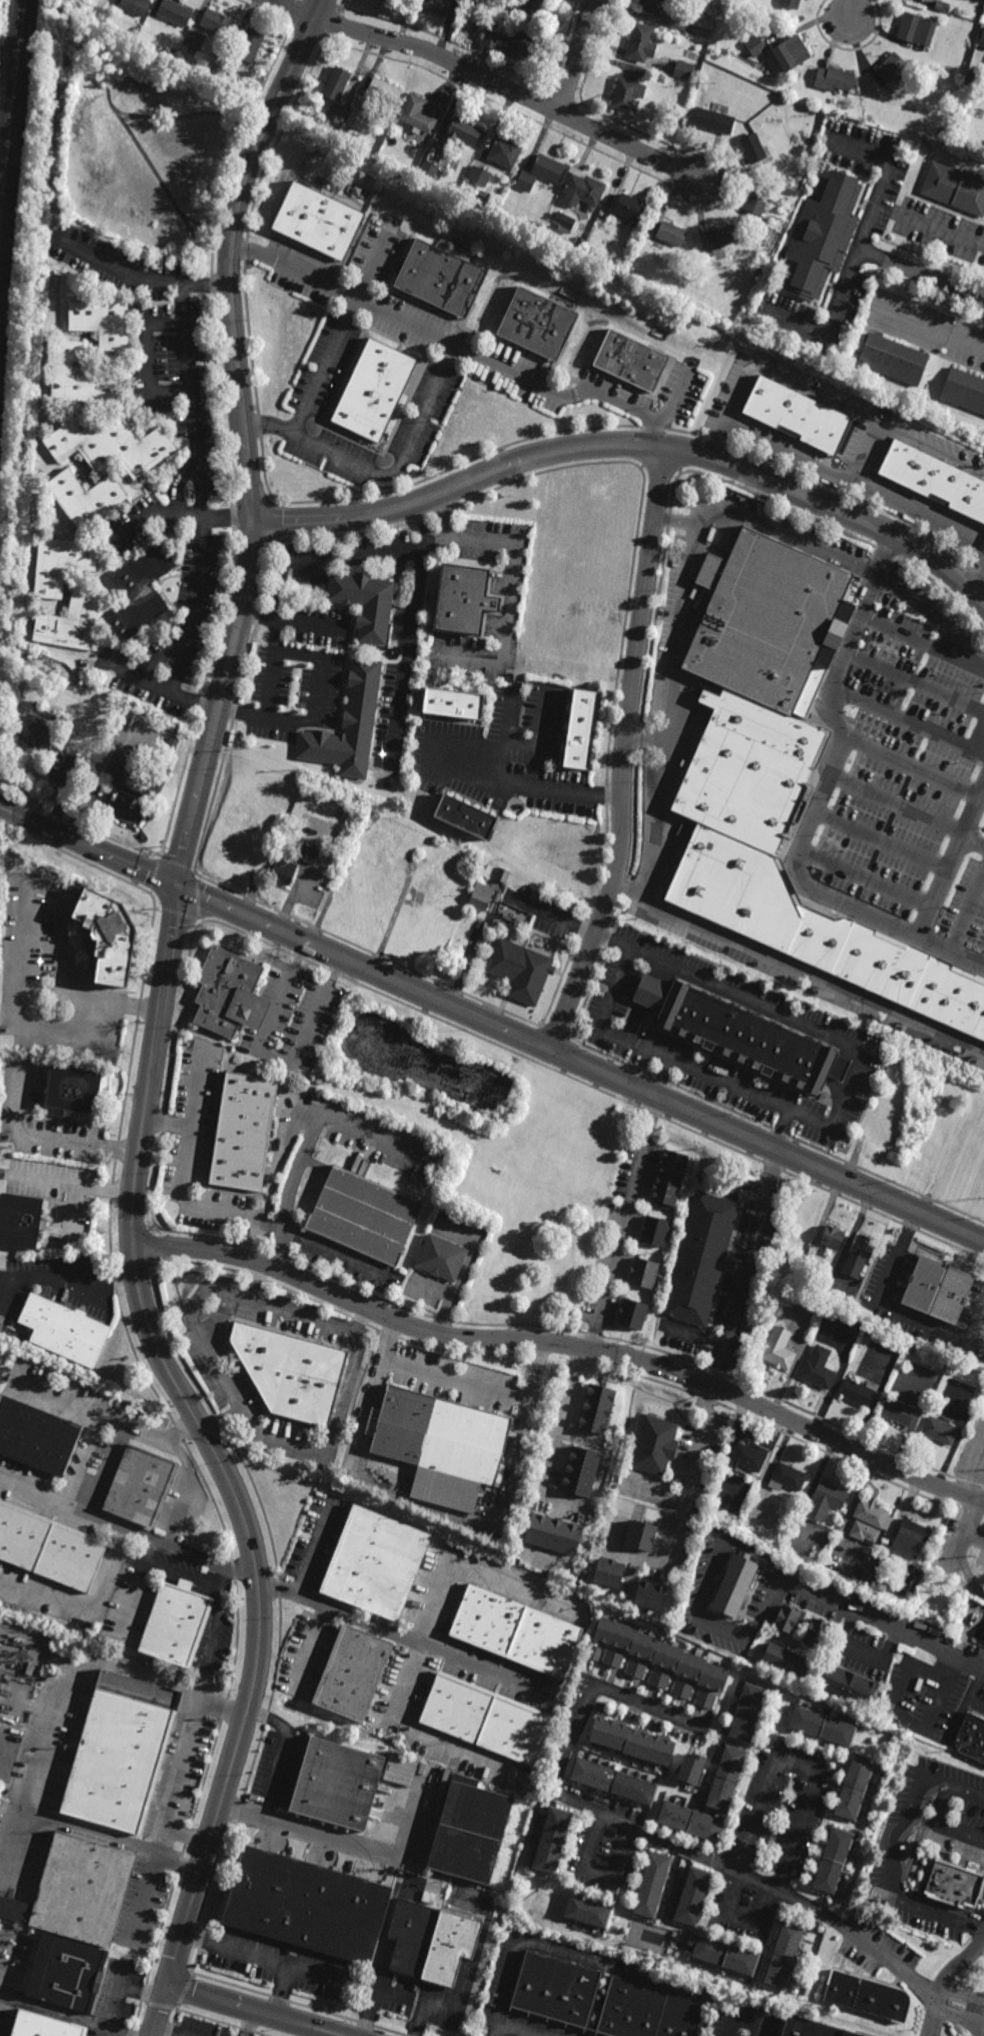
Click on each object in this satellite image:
building: (386, 0)
building: (389, 0)
building: (928, 0)
building: (408, 4)
building: (791, 4)
building: (135, 7)
building: (436, 7)
building: (650, 7)
building: (944, 8)
road: (853, 9)
building: (531, 10)
building: (175, 15)
building: (216, 23)
building: (675, 26)
building: (917, 29)
building: (136, 32)
building: (982, 36)
building: (510, 41)
building: (194, 42)
building: (641, 43)
building: (251, 45)
building: (755, 45)
building: (791, 52)
building: (172, 53)
road: (577, 57)
building: (892, 66)
building: (684, 70)
building: (973, 75)
building: (834, 78)
building: (335, 82)
road: (492, 82)
railway: (8, 85)
building: (384, 89)
building: (628, 91)
building: (336, 112)
building: (419, 112)
building: (356, 117)
building: (714, 119)
building: (464, 129)
railway: (9, 131)
building: (754, 147)
building: (506, 150)
building: (818, 165)
building: (431, 171)
building: (541, 171)
building: (480, 175)
building: (801, 176)
road: (884, 177)
building: (583, 188)
building: (955, 188)
building: (758, 199)
building: (630, 207)
building: (606, 211)
building: (317, 219)
building: (565, 220)
building: (746, 222)
building: (599, 223)
road: (941, 231)
building: (671, 233)
building: (822, 234)
building: (722, 237)
building: (582, 240)
building: (764, 241)
road: (120, 268)
building: (757, 275)
building: (441, 277)
road: (934, 280)
road: (206, 286)
road: (838, 308)
building: (538, 323)
building: (104, 327)
road: (970, 344)
road: (455, 346)
road: (148, 359)
building: (893, 360)
building: (631, 361)
road: (325, 365)
building: (79, 377)
building: (374, 390)
building: (964, 390)
road: (822, 397)
road: (676, 401)
building: (798, 416)
building: (111, 445)
road: (632, 445)
road: (817, 467)
road: (381, 473)
building: (934, 480)
building: (86, 499)
road: (156, 513)
road: (922, 514)
road: (201, 515)
road: (226, 521)
road: (438, 538)
road: (826, 552)
building: (61, 565)
road: (420, 575)
road: (510, 579)
road: (978, 586)
road: (277, 592)
building: (141, 593)
building: (465, 602)
building: (364, 605)
road: (257, 615)
building: (768, 621)
building: (71, 623)
road: (921, 644)
road: (677, 651)
road: (914, 683)
building: (454, 704)
road: (400, 705)
road: (241, 714)
road: (908, 719)
road: (510, 722)
building: (347, 726)
building: (767, 726)
building: (581, 730)
building: (42, 731)
road: (977, 732)
building: (173, 744)
road: (535, 749)
road: (624, 753)
road: (913, 767)
building: (137, 773)
road: (528, 786)
building: (743, 790)
road: (817, 803)
road: (897, 803)
road: (7, 807)
building: (466, 816)
road: (657, 818)
road: (881, 841)
road: (972, 845)
building: (309, 854)
building: (283, 864)
road: (951, 864)
building: (501, 874)
road: (865, 879)
building: (533, 888)
building: (481, 897)
building: (511, 909)
road: (967, 914)
building: (818, 933)
building: (108, 935)
road: (20, 940)
building: (521, 971)
road: (797, 971)
building: (230, 993)
road: (163, 999)
road: (796, 1021)
road: (498, 1027)
building: (738, 1034)
road: (659, 1052)
road: (274, 1059)
building: (841, 1068)
road: (661, 1076)
building: (319, 1081)
building: (74, 1090)
road: (167, 1124)
building: (244, 1131)
road: (54, 1138)
road: (309, 1139)
road: (182, 1175)
building: (669, 1179)
road: (76, 1185)
building: (364, 1217)
building: (21, 1221)
road: (623, 1223)
building: (804, 1228)
building: (654, 1232)
building: (834, 1239)
building: (805, 1246)
building: (802, 1255)
building: (860, 1258)
building: (441, 1259)
building: (700, 1260)
building: (784, 1264)
road: (746, 1268)
building: (643, 1273)
road: (72, 1276)
building: (794, 1280)
building: (954, 1289)
road: (895, 1313)
building: (632, 1314)
building: (65, 1332)
building: (872, 1334)
road: (564, 1343)
building: (779, 1351)
road: (218, 1369)
building: (819, 1370)
building: (293, 1372)
road: (454, 1379)
building: (860, 1392)
road: (61, 1397)
building: (596, 1408)
building: (898, 1410)
road: (106, 1418)
road: (221, 1419)
building: (941, 1429)
building: (37, 1433)
building: (441, 1442)
building: (655, 1444)
road: (553, 1447)
building: (750, 1454)
road: (974, 1467)
building: (581, 1470)
building: (783, 1478)
building: (142, 1484)
road: (187, 1489)
road: (567, 1495)
building: (826, 1499)
road: (592, 1503)
road: (436, 1511)
building: (832, 1513)
building: (873, 1513)
road: (676, 1524)
road: (963, 1524)
road: (129, 1529)
building: (864, 1531)
building: (554, 1532)
building: (641, 1534)
building: (908, 1539)
building: (50, 1545)
road: (524, 1549)
road: (314, 1553)
building: (375, 1561)
road: (468, 1568)
building: (610, 1571)
road: (183, 1574)
building: (858, 1581)
building: (736, 1583)
building: (650, 1593)
road: (86, 1606)
road: (697, 1606)
building: (787, 1618)
building: (178, 1622)
road: (880, 1622)
building: (516, 1630)
building: (818, 1632)
road: (401, 1640)
building: (983, 1642)
building: (983, 1643)
road: (311, 1647)
building: (593, 1653)
building: (659, 1653)
building: (612, 1660)
building: (787, 1660)
building: (30, 1667)
building: (635, 1670)
building: (353, 1672)
building: (658, 1680)
building: (849, 1686)
road: (594, 1689)
building: (682, 1690)
road: (975, 1693)
building: (704, 1699)
road: (898, 1703)
road: (56, 1709)
road: (224, 1710)
building: (748, 1713)
building: (485, 1719)
road: (412, 1724)
building: (823, 1726)
building: (971, 1737)
building: (630, 1741)
building: (122, 1752)
road: (284, 1755)
road: (187, 1760)
building: (690, 1769)
building: (399, 1771)
building: (726, 1779)
building: (613, 1781)
building: (335, 1783)
building: (854, 1787)
road: (767, 1791)
building: (690, 1822)
road: (939, 1830)
building: (471, 1832)
road: (188, 1838)
building: (552, 1840)
road: (113, 1843)
road: (340, 1843)
road: (688, 1850)
road: (898, 1858)
building: (834, 1861)
road: (597, 1875)
building: (952, 1883)
building: (651, 1885)
building: (79, 1892)
building: (694, 1897)
building: (308, 1906)
building: (588, 1911)
road: (385, 1929)
building: (431, 1943)
road: (1, 1952)
building: (724, 1955)
road: (883, 1955)
building: (784, 1956)
road: (272, 1959)
road: (585, 1965)
building: (67, 1975)
road: (944, 1980)
road: (469, 1982)
road: (283, 1991)
building: (555, 1991)
road: (142, 1993)
road: (375, 1996)
building: (866, 1997)
road: (117, 1999)
road: (936, 2006)
road: (160, 2011)
road: (253, 2011)
building: (647, 2011)
road: (62, 2016)
road: (744, 2017)
building: (43, 2026)
building: (812, 2028)
road: (511, 2030)
road: (169, 2032)

